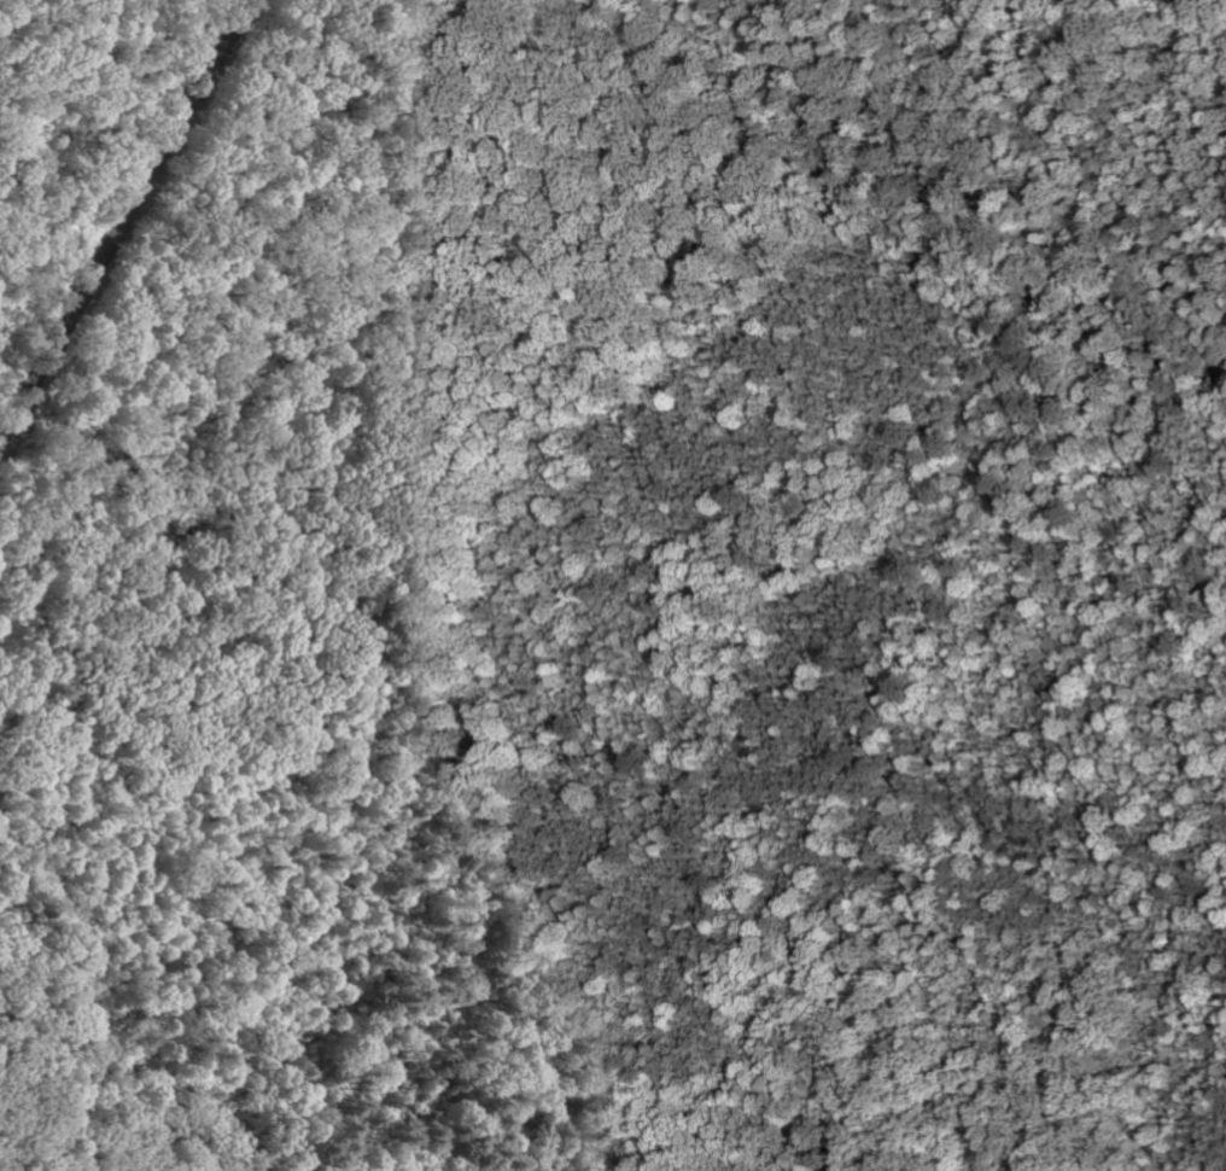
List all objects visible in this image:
road: (125, 220)

